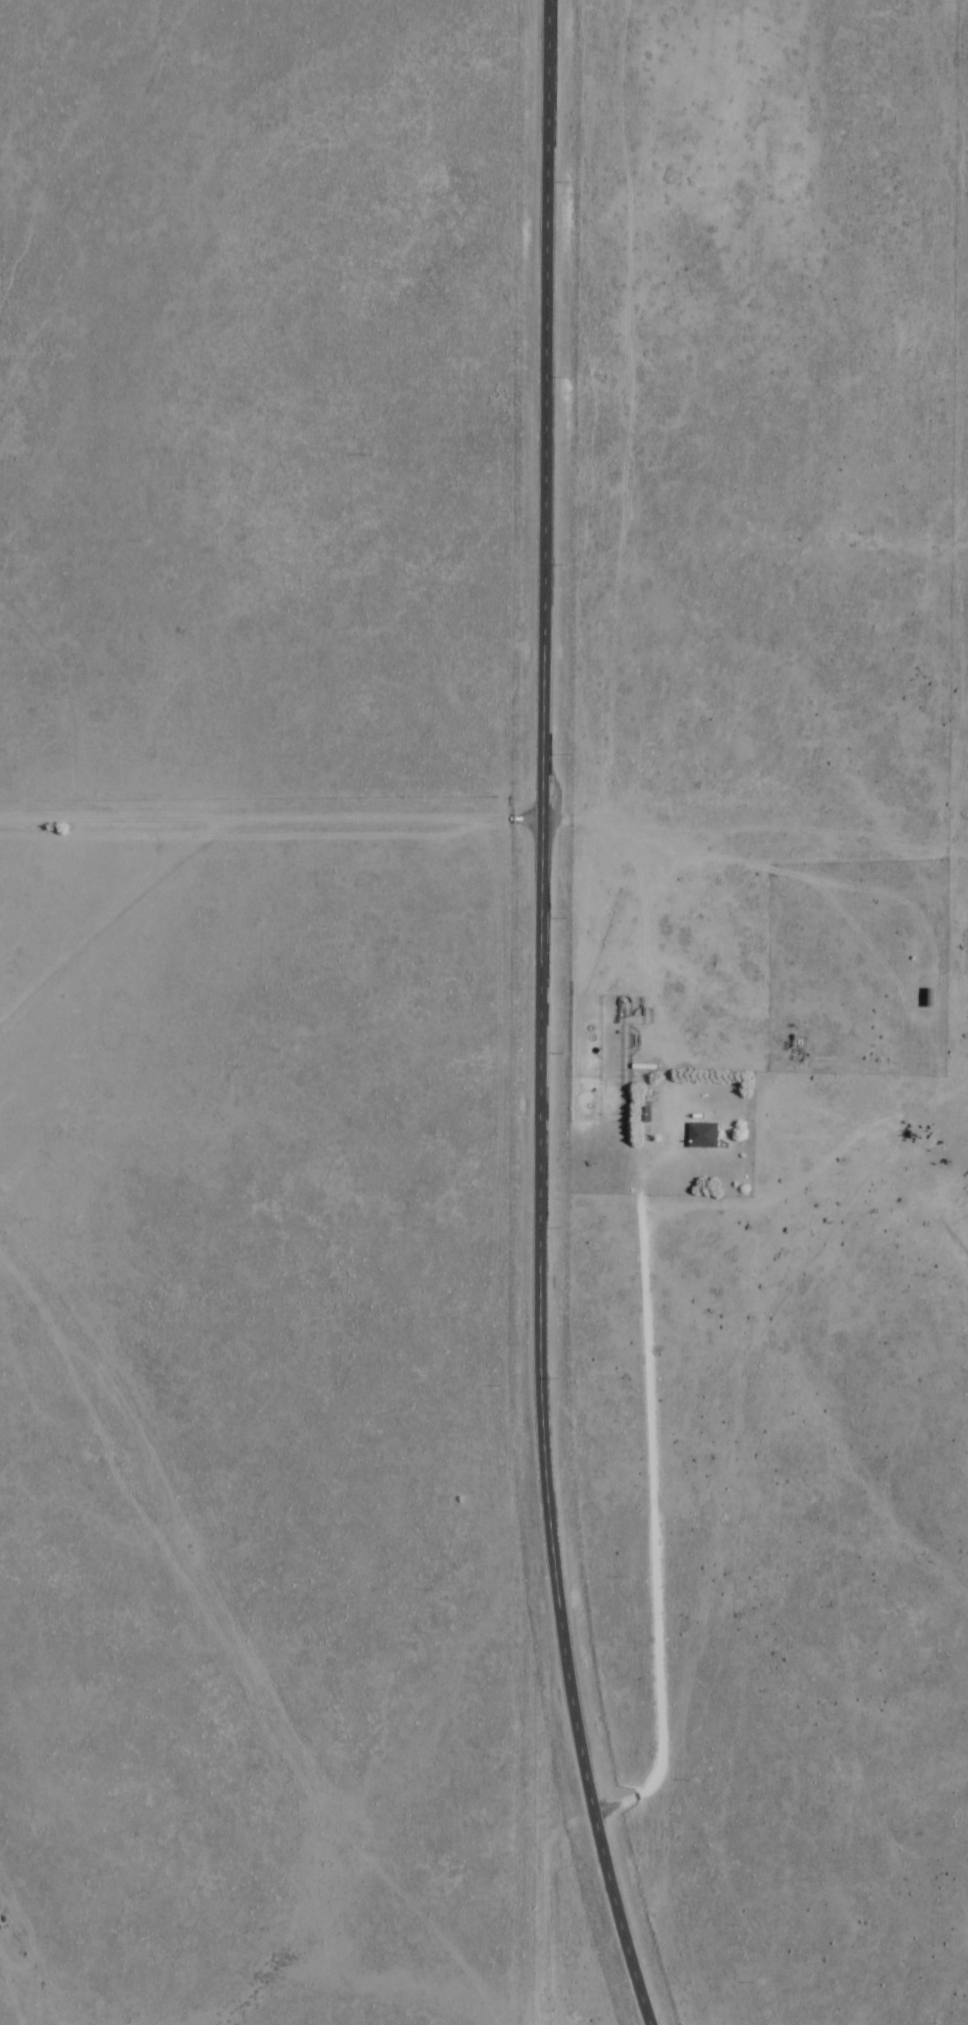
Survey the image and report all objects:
road: (486, 819)
road: (75, 904)
building: (937, 997)
road: (539, 1018)
building: (706, 1135)
road: (441, 1948)

